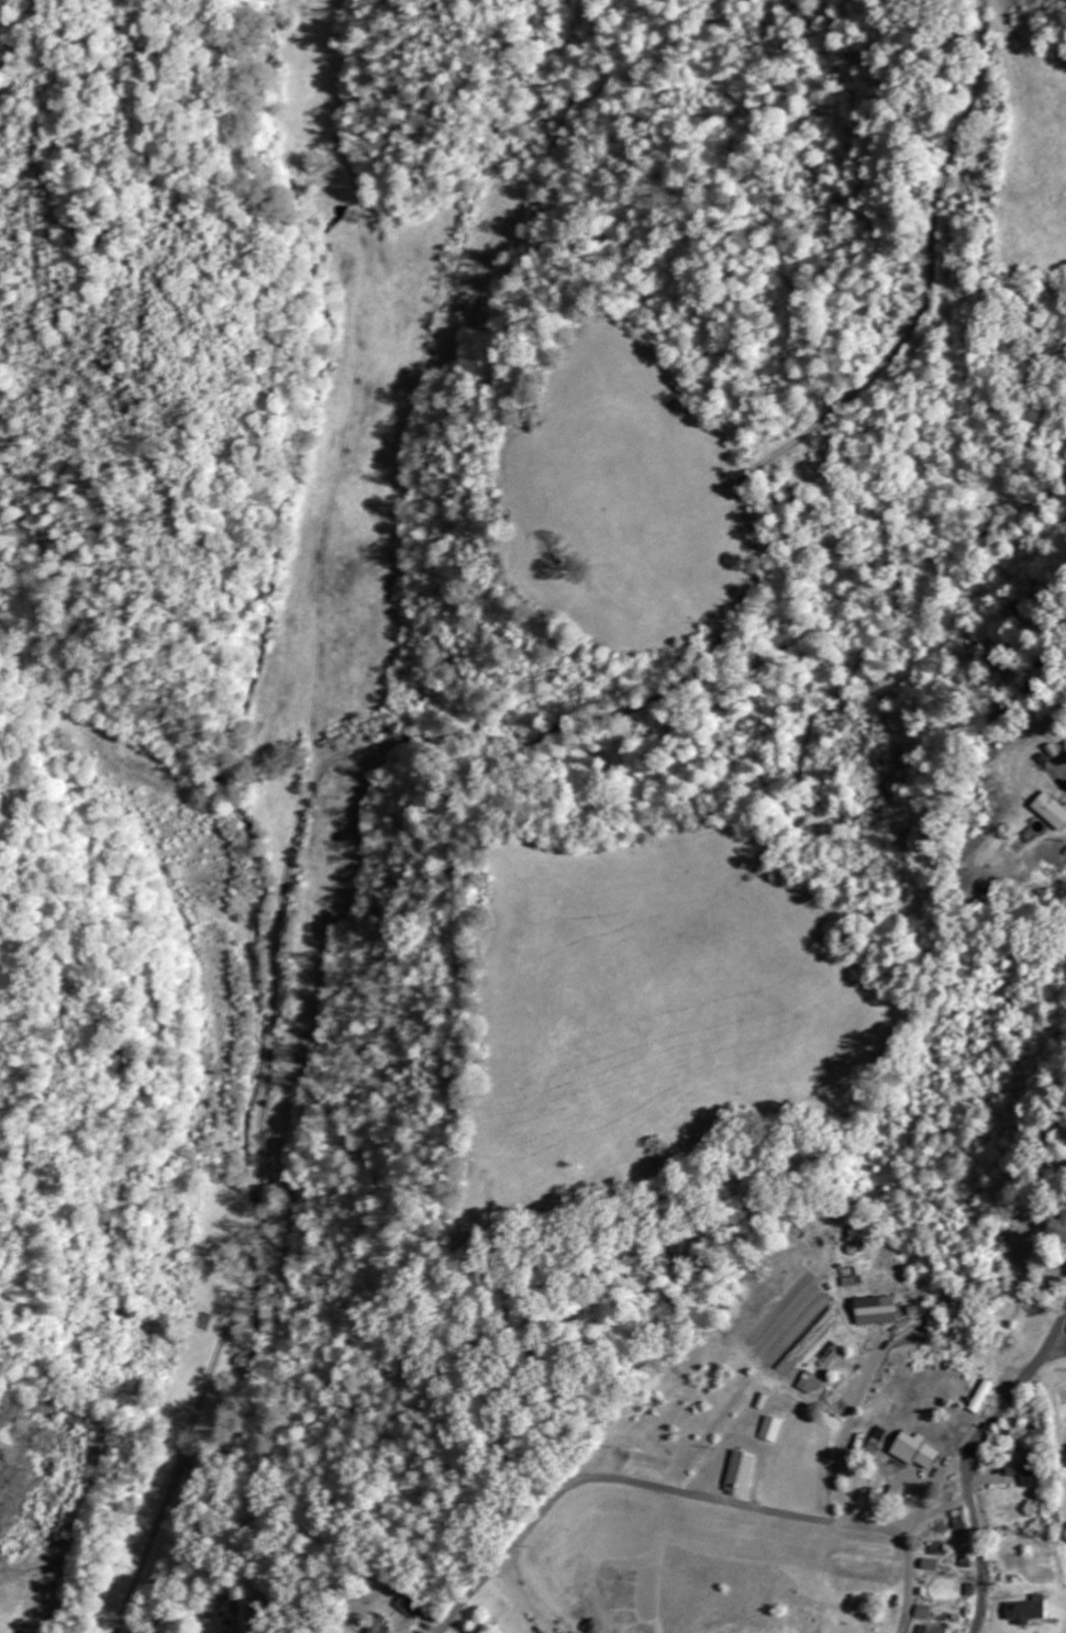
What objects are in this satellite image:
building: (1051, 810)
road: (321, 968)
building: (1057, 1227)
building: (856, 1248)
building: (874, 1310)
building: (998, 1341)
building: (807, 1384)
building: (981, 1397)
building: (769, 1430)
building: (913, 1451)
road: (970, 1459)
building: (737, 1474)
building: (1028, 1475)
road: (687, 1493)
building: (929, 1565)
building: (408, 1607)
building: (1025, 1610)
building: (922, 1613)
building: (378, 1624)
building: (928, 1630)

